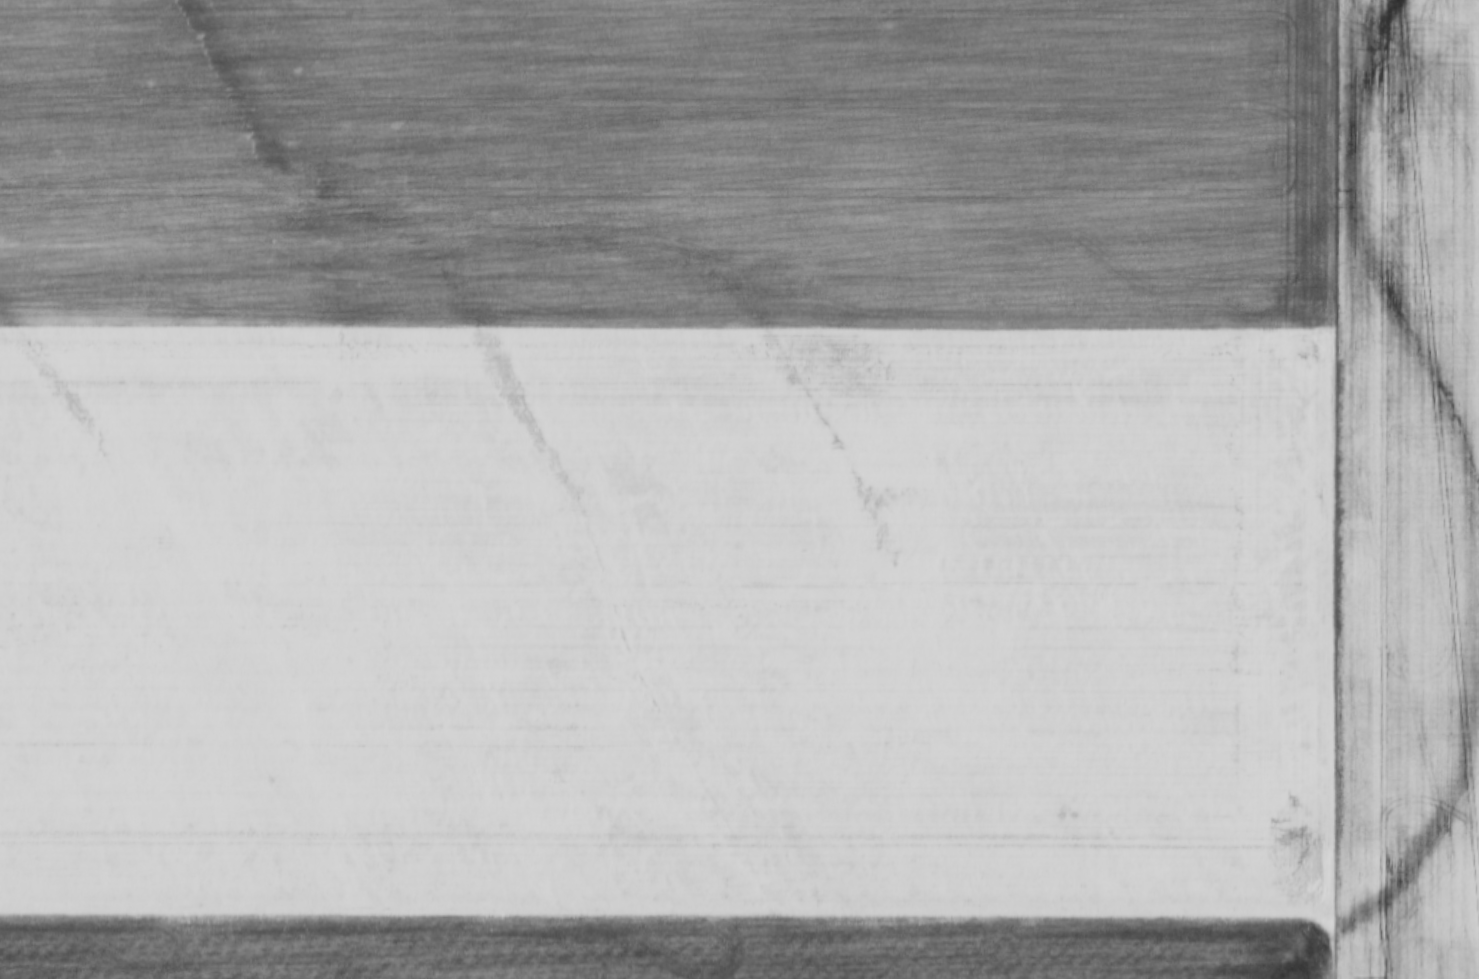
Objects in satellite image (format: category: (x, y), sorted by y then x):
crop: (663, 162)
crop: (1404, 481)
crop: (666, 619)
crop: (661, 946)

